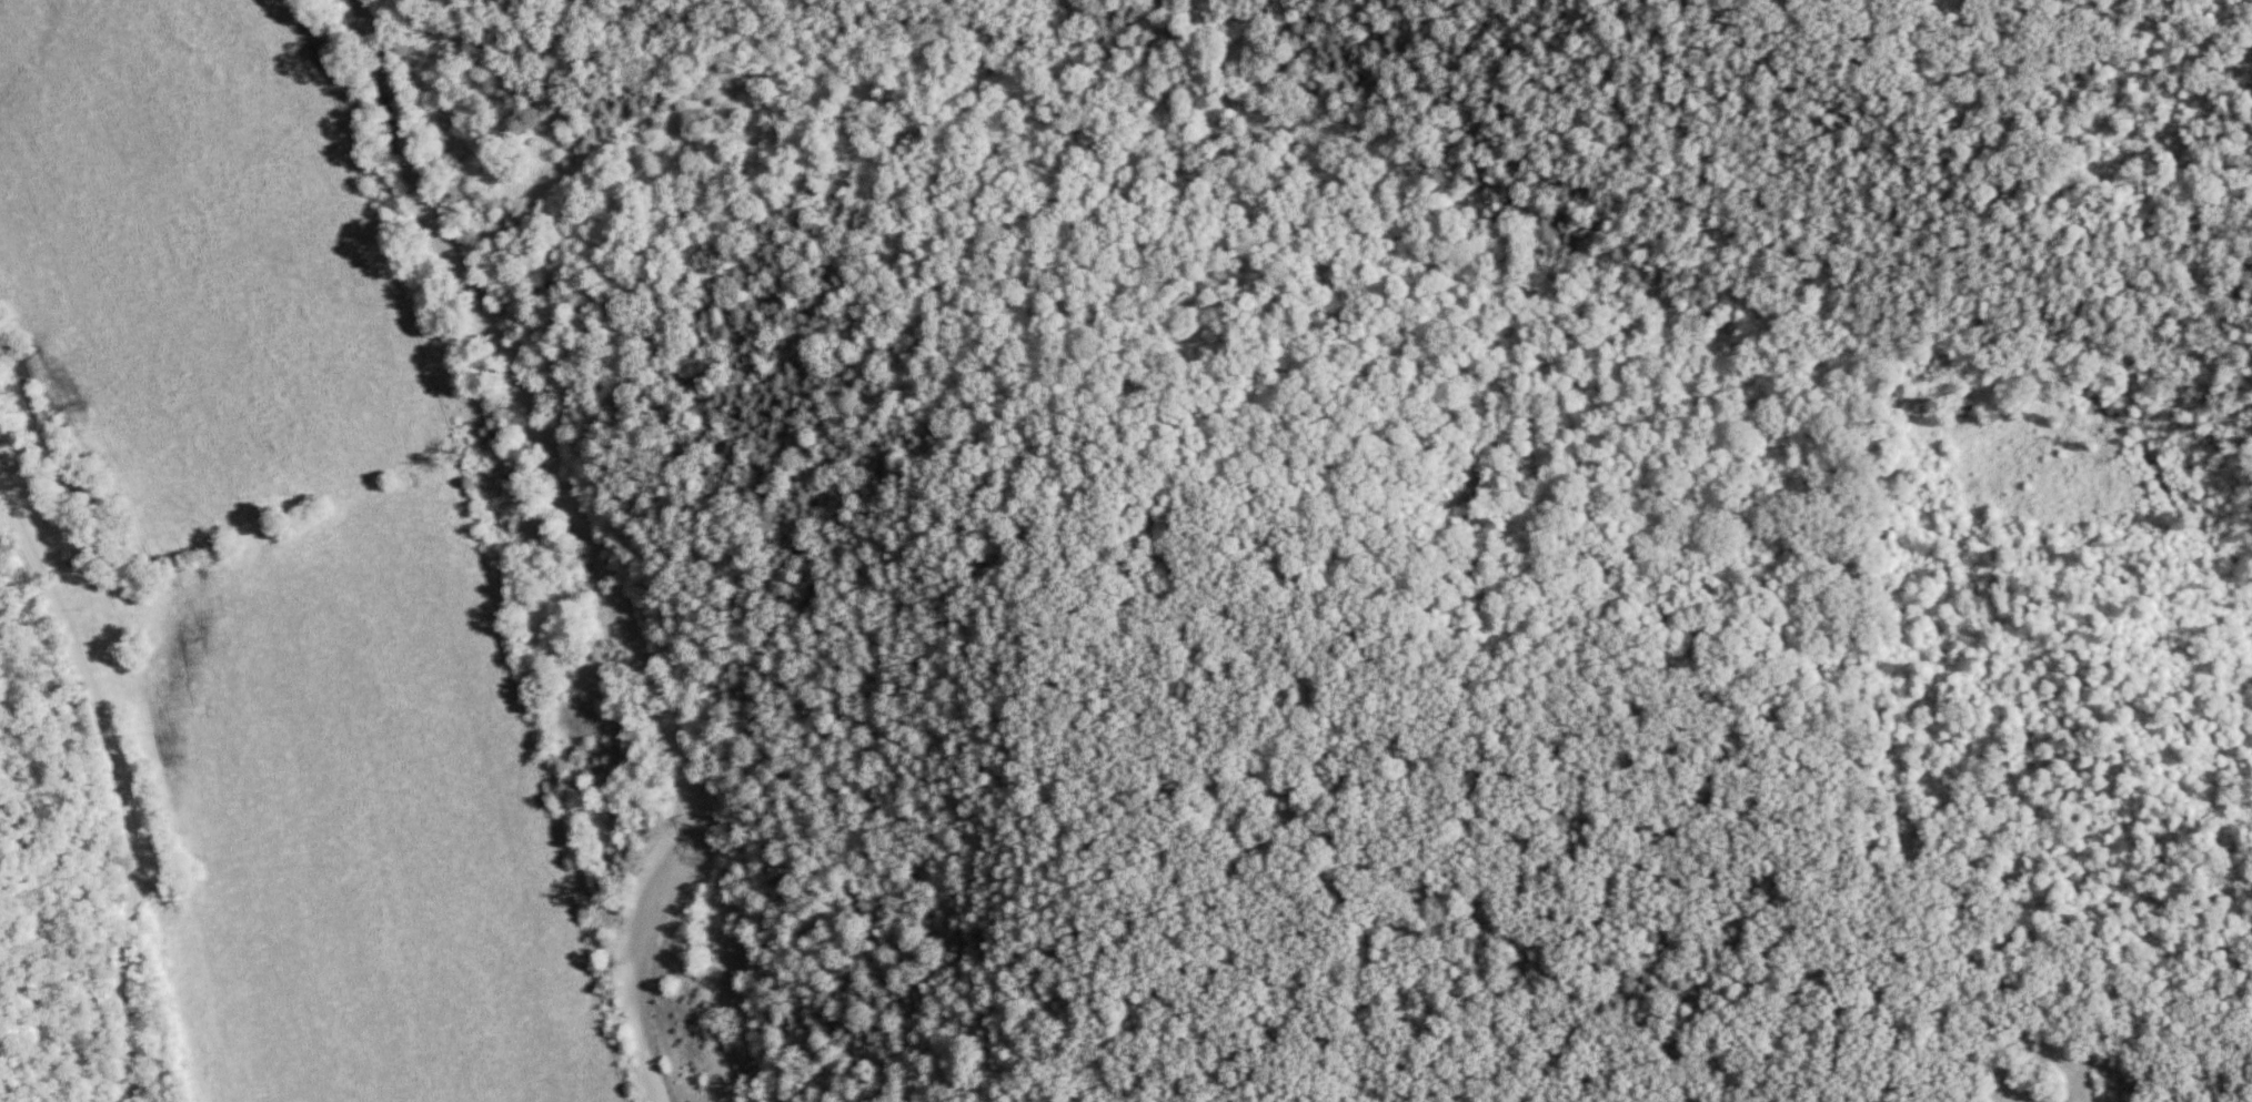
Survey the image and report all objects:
river: (607, 534)
road: (123, 780)

